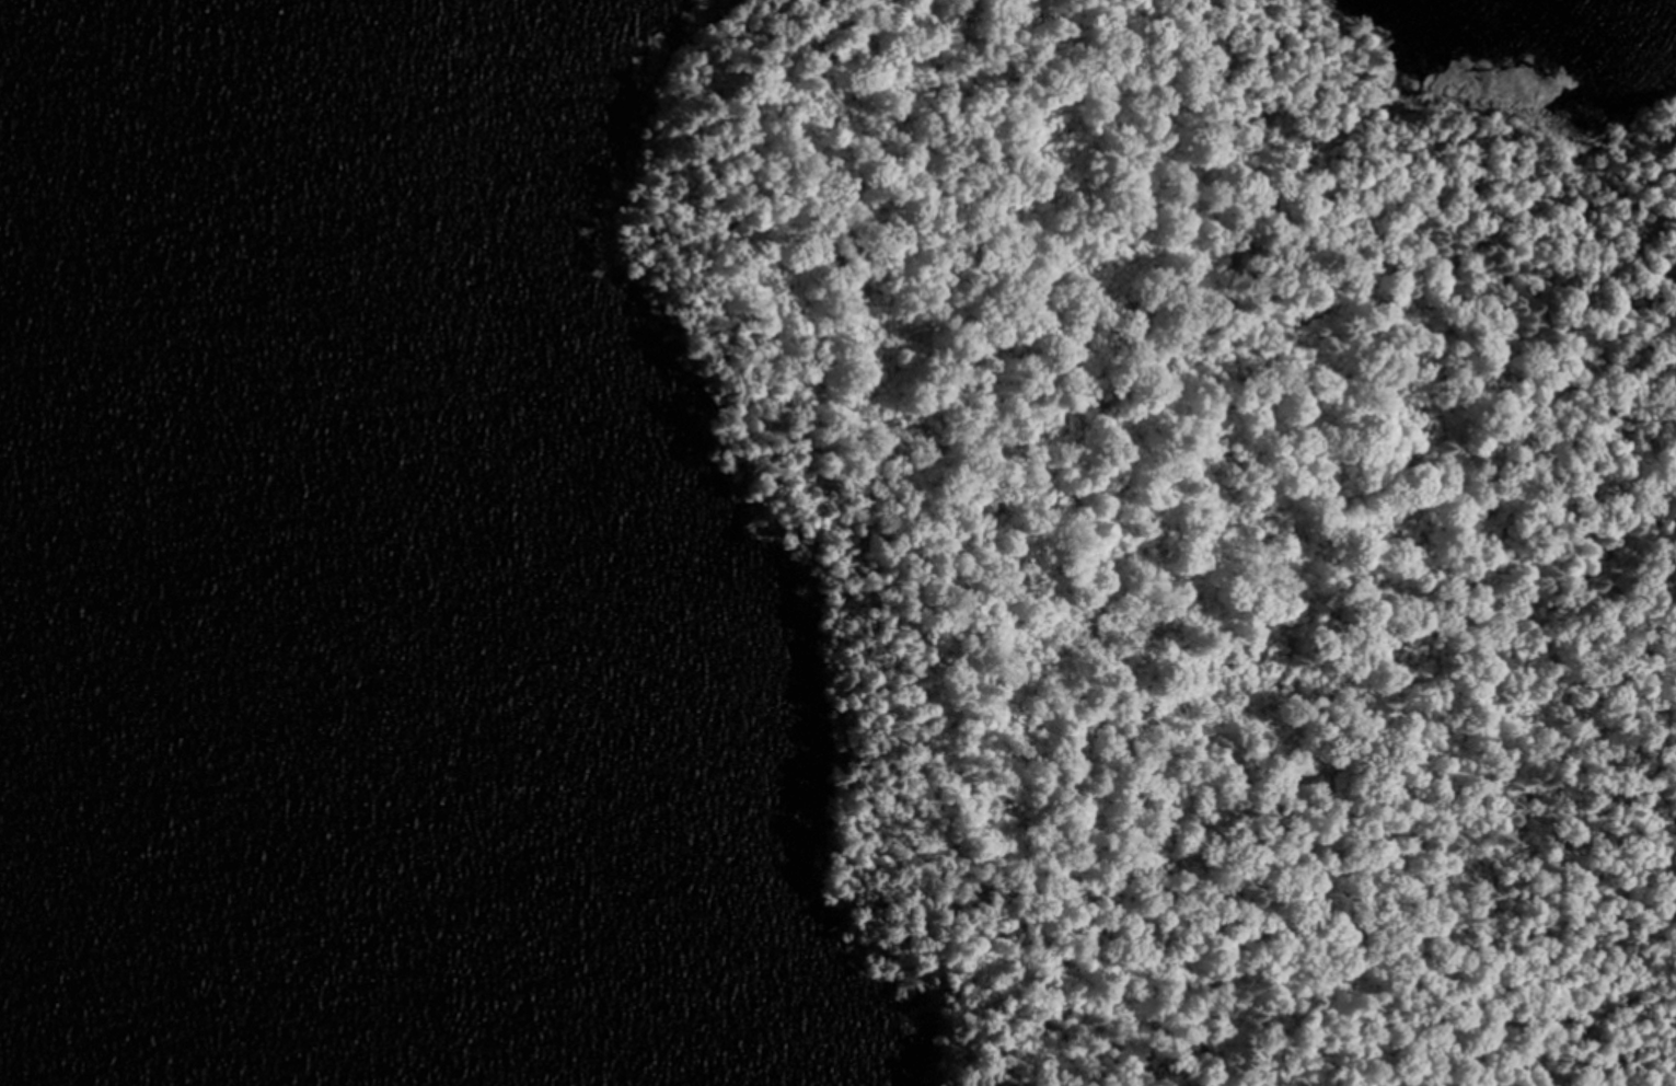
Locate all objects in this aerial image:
road: (928, 30)
road: (990, 754)

